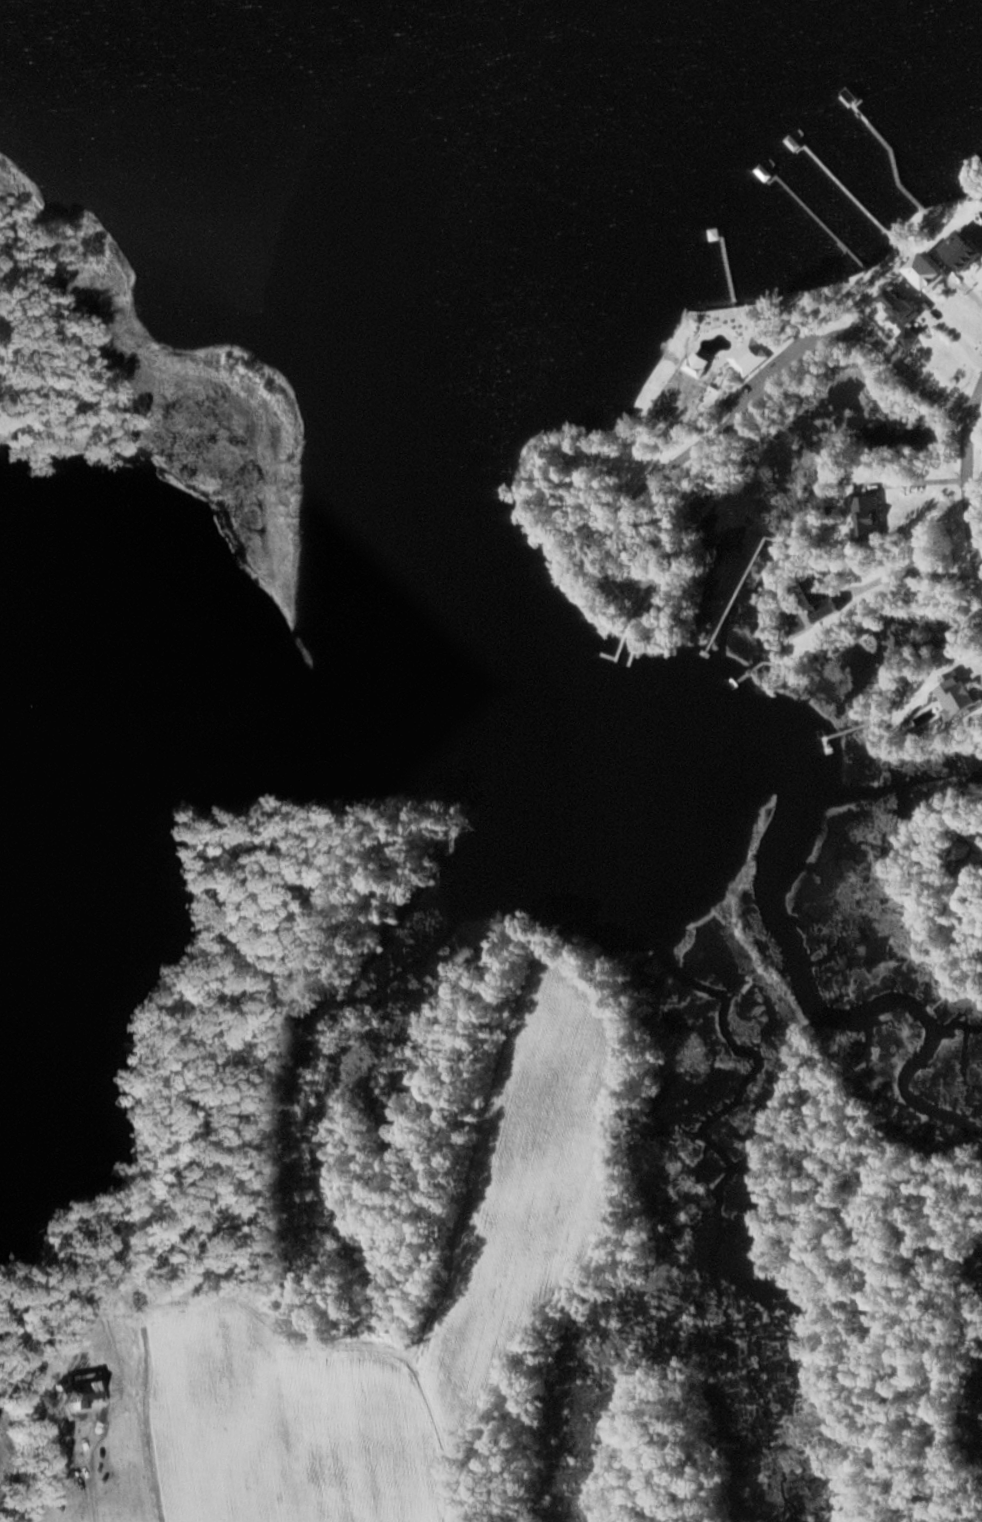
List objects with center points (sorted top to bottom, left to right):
building: (968, 249)
building: (751, 357)
road: (32, 440)
road: (970, 483)
building: (872, 519)
building: (827, 598)
building: (965, 852)

